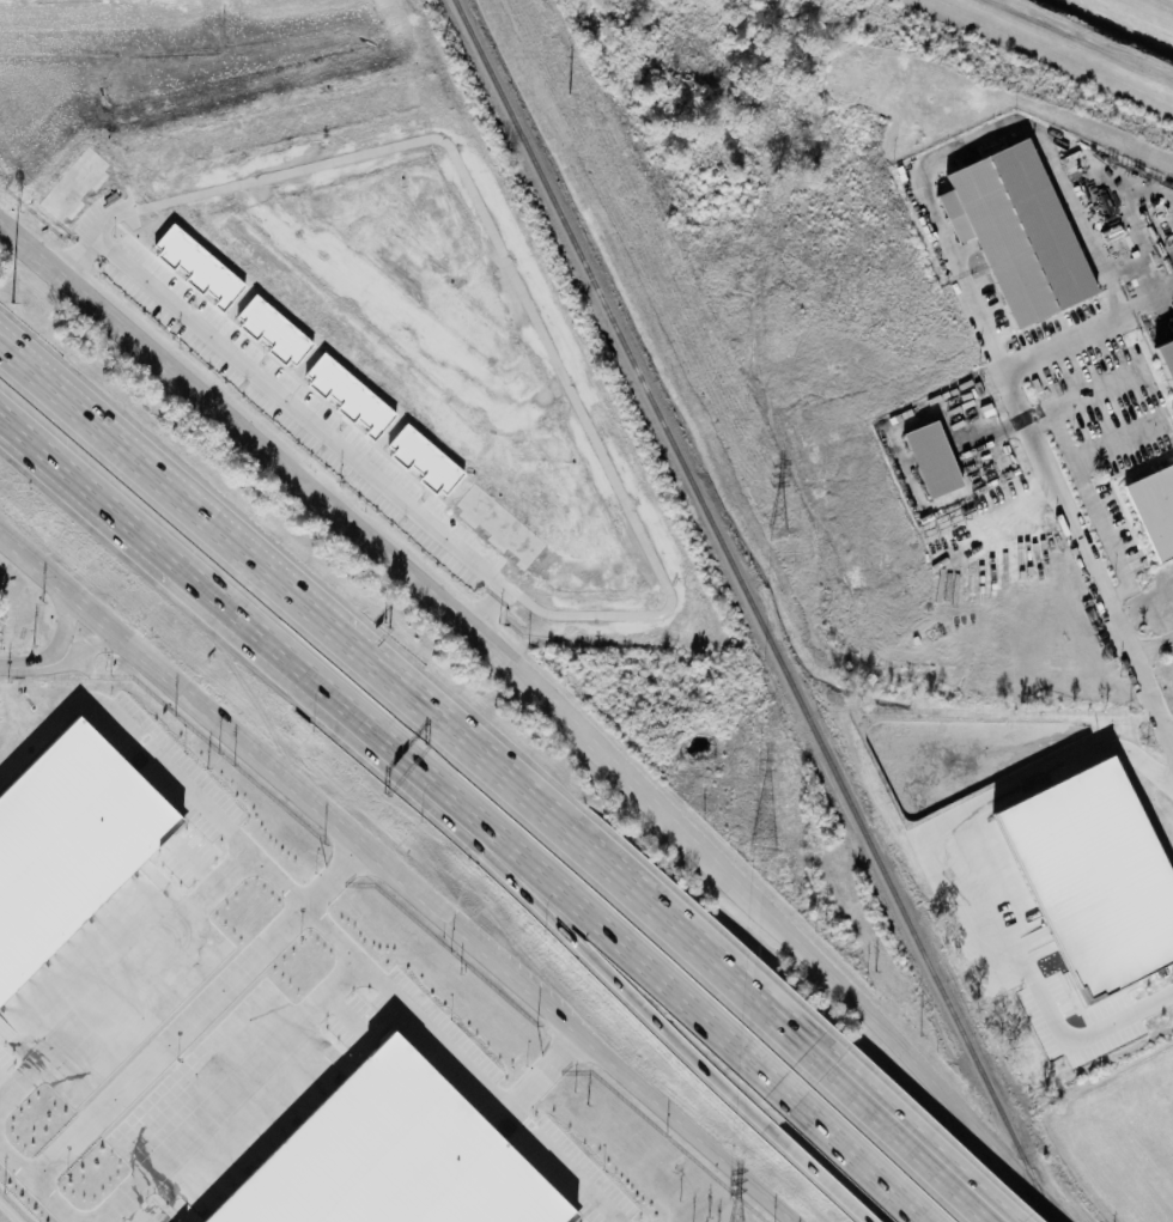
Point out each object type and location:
river: (1129, 19)
road: (1045, 55)
power tower: (567, 96)
road: (968, 144)
building: (1020, 233)
building: (200, 267)
road: (531, 281)
building: (276, 332)
road: (1077, 338)
building: (1167, 360)
building: (352, 395)
road: (310, 417)
building: (427, 460)
building: (932, 460)
road: (770, 472)
road: (187, 499)
road: (1090, 504)
building: (1155, 511)
road: (333, 513)
power tower: (777, 534)
road: (1092, 578)
road: (215, 589)
railway: (755, 610)
road: (68, 616)
road: (60, 625)
road: (96, 643)
road: (1150, 649)
road: (36, 665)
building: (67, 840)
road: (591, 853)
power tower: (764, 853)
road: (976, 870)
road: (397, 874)
building: (1101, 884)
road: (315, 914)
road: (602, 931)
road: (590, 956)
road: (127, 978)
road: (196, 1013)
power plant: (256, 1014)
road: (865, 1014)
road: (816, 1056)
road: (547, 1071)
road: (229, 1092)
road: (926, 1136)
road: (902, 1143)
road: (851, 1153)
building: (389, 1157)
road: (929, 1174)
road: (813, 1175)
road: (35, 1186)
road: (8, 1214)

